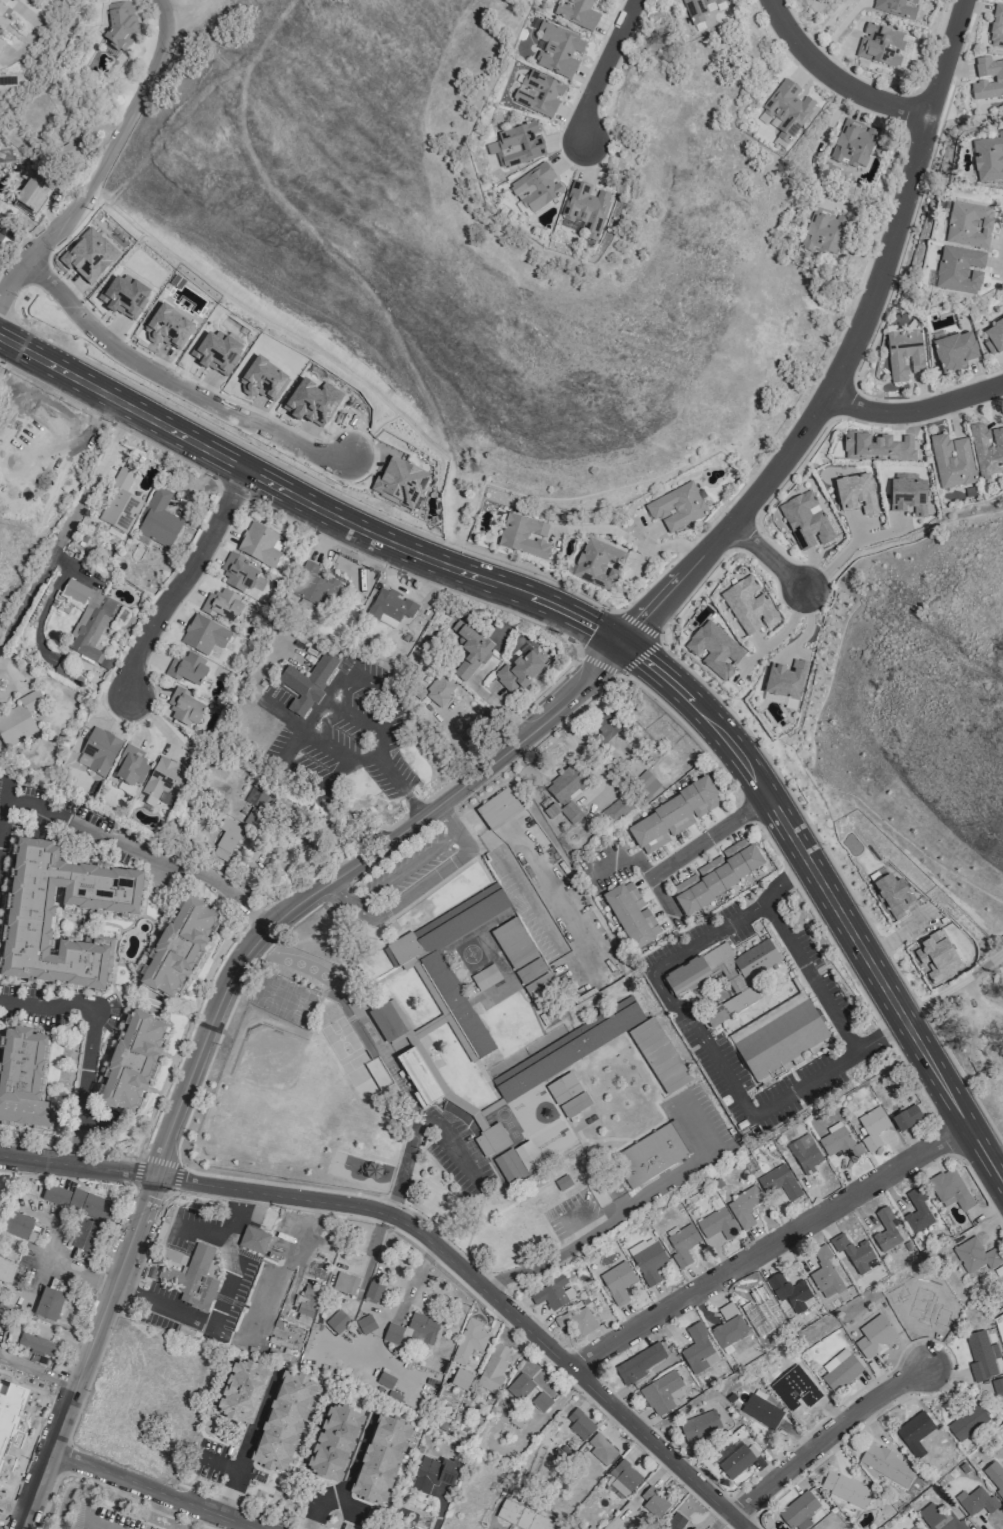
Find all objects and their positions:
building: (604, 0)
building: (896, 7)
building: (699, 9)
building: (3, 13)
building: (576, 13)
road: (827, 23)
building: (120, 25)
road: (34, 32)
building: (1, 43)
building: (881, 45)
building: (557, 49)
road: (608, 74)
road: (837, 75)
building: (998, 79)
building: (538, 93)
building: (787, 110)
building: (853, 144)
building: (518, 145)
building: (66, 153)
road: (103, 157)
building: (988, 159)
building: (535, 188)
building: (32, 192)
building: (584, 206)
building: (968, 225)
building: (823, 231)
building: (3, 243)
road: (1002, 255)
building: (88, 256)
building: (959, 270)
building: (123, 296)
road: (868, 310)
building: (168, 328)
building: (993, 337)
building: (955, 351)
building: (217, 352)
building: (904, 354)
building: (263, 378)
road: (172, 380)
building: (312, 401)
road: (916, 411)
building: (877, 447)
building: (987, 448)
building: (951, 462)
road: (304, 479)
building: (400, 482)
building: (856, 494)
building: (908, 495)
building: (119, 506)
building: (676, 507)
road: (973, 512)
building: (158, 520)
building: (805, 521)
road: (66, 529)
building: (524, 535)
road: (630, 539)
building: (260, 545)
road: (766, 557)
building: (598, 563)
road: (833, 563)
building: (241, 576)
road: (182, 583)
building: (311, 588)
road: (47, 597)
building: (222, 605)
building: (748, 606)
building: (389, 608)
road: (652, 608)
building: (88, 622)
road: (779, 634)
building: (204, 635)
road: (608, 635)
traffic signals: (620, 643)
building: (470, 648)
building: (714, 649)
road: (641, 654)
road: (962, 666)
building: (187, 669)
building: (520, 670)
building: (307, 683)
building: (785, 683)
building: (440, 690)
road: (499, 706)
building: (184, 707)
road: (289, 717)
road: (353, 717)
building: (19, 719)
building: (98, 751)
road: (376, 759)
building: (130, 766)
road: (336, 772)
building: (641, 779)
building: (163, 781)
road: (781, 781)
building: (565, 793)
road: (1, 797)
building: (258, 804)
building: (498, 809)
road: (351, 817)
building: (671, 817)
road: (708, 836)
building: (225, 840)
road: (142, 846)
road: (407, 868)
road: (336, 872)
building: (718, 874)
road: (418, 885)
road: (660, 891)
building: (893, 895)
building: (30, 911)
building: (631, 915)
building: (178, 948)
road: (259, 954)
building: (937, 955)
building: (522, 957)
road: (657, 966)
building: (431, 969)
road: (808, 974)
building: (726, 976)
road: (953, 984)
road: (47, 1005)
building: (387, 1021)
building: (780, 1038)
building: (595, 1054)
building: (132, 1061)
park: (325, 1065)
road: (827, 1068)
building: (418, 1075)
building: (22, 1077)
road: (82, 1087)
building: (562, 1088)
building: (574, 1104)
building: (906, 1117)
road: (416, 1126)
building: (872, 1128)
building: (491, 1140)
building: (840, 1143)
building: (653, 1154)
road: (997, 1157)
building: (805, 1159)
building: (517, 1162)
road: (76, 1164)
building: (562, 1182)
building: (779, 1182)
building: (949, 1189)
building: (537, 1199)
building: (77, 1200)
building: (743, 1207)
building: (917, 1211)
road: (369, 1219)
road: (606, 1220)
building: (16, 1224)
building: (715, 1225)
building: (885, 1230)
building: (84, 1235)
building: (254, 1239)
building: (681, 1244)
road: (770, 1245)
building: (853, 1252)
building: (975, 1255)
building: (647, 1259)
road: (284, 1263)
building: (7, 1270)
road: (79, 1273)
building: (824, 1273)
building: (194, 1278)
building: (617, 1282)
building: (345, 1283)
road: (480, 1287)
building: (374, 1290)
building: (553, 1292)
building: (790, 1292)
building: (307, 1303)
building: (49, 1304)
road: (221, 1306)
building: (761, 1310)
building: (922, 1316)
building: (578, 1320)
building: (338, 1321)
building: (365, 1324)
building: (414, 1328)
building: (728, 1331)
building: (874, 1340)
building: (469, 1341)
building: (37, 1344)
building: (698, 1350)
road: (86, 1352)
building: (981, 1355)
building: (641, 1363)
building: (495, 1367)
building: (840, 1370)
building: (386, 1379)
building: (461, 1379)
building: (520, 1386)
building: (800, 1388)
building: (997, 1388)
building: (242, 1391)
building: (662, 1392)
building: (541, 1401)
building: (9, 1409)
building: (762, 1410)
building: (284, 1421)
building: (967, 1423)
building: (579, 1424)
building: (701, 1426)
building: (915, 1429)
road: (824, 1437)
building: (334, 1442)
road: (250, 1443)
building: (601, 1448)
building: (735, 1457)
road: (62, 1458)
building: (381, 1459)
building: (880, 1460)
building: (434, 1473)
building: (995, 1475)
building: (624, 1477)
road: (347, 1478)
road: (108, 1486)
road: (152, 1490)
building: (851, 1492)
building: (978, 1500)
building: (653, 1502)
building: (799, 1509)
building: (523, 1516)
building: (942, 1519)
road: (103, 1522)
road: (494, 1527)
building: (671, 1527)
building: (832, 1527)
building: (915, 1527)
building: (389, 1528)
building: (414, 1528)

